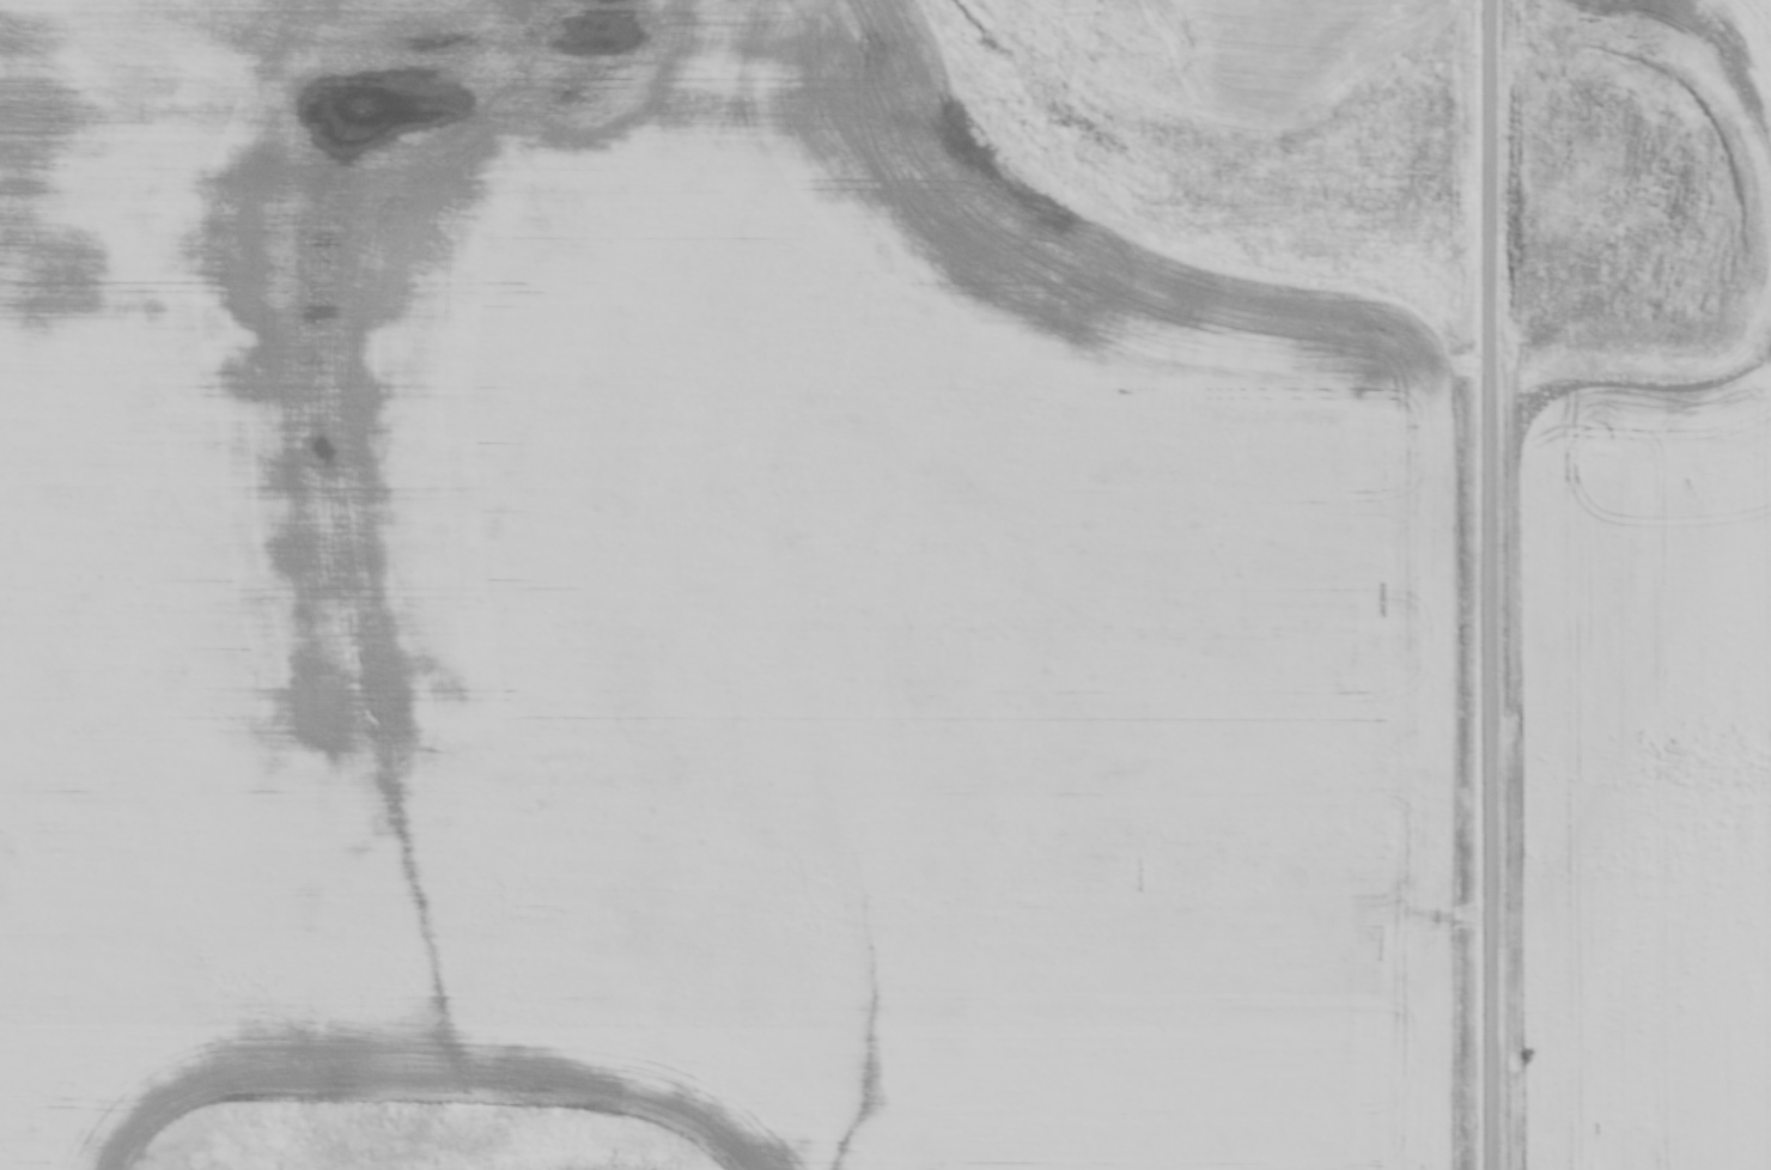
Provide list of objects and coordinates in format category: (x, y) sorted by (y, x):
road: (1492, 585)

